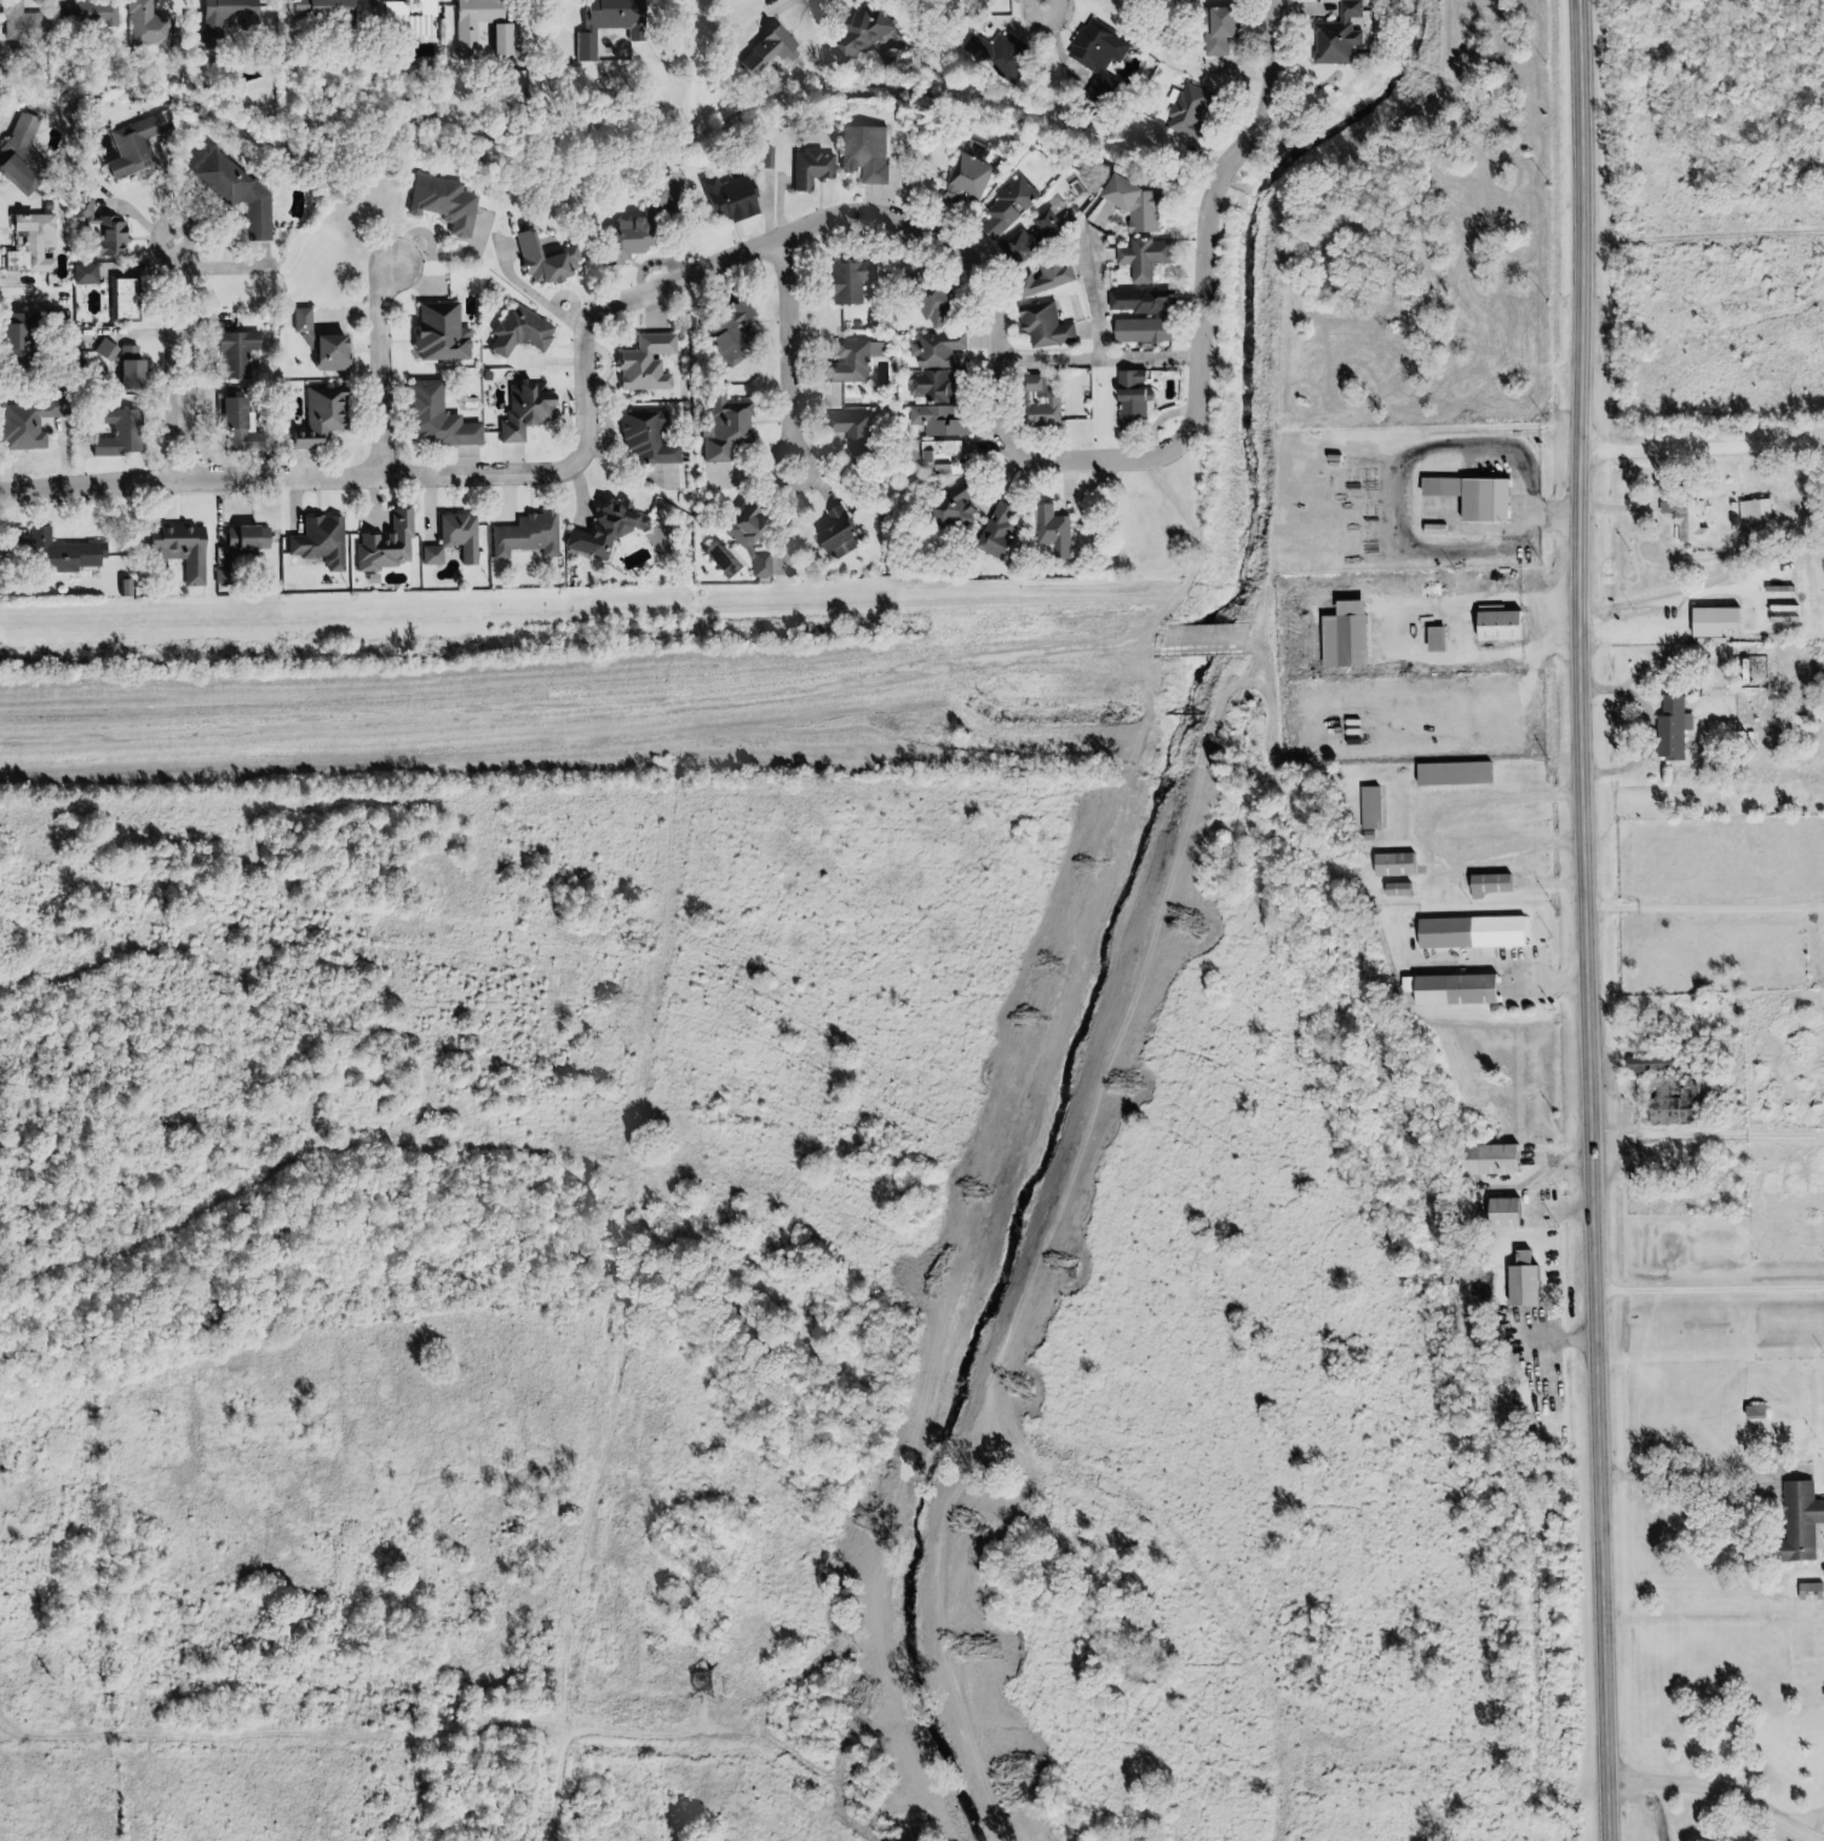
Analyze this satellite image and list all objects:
road: (1053, 2)
building: (323, 8)
building: (403, 8)
building: (91, 15)
building: (235, 15)
building: (605, 19)
building: (24, 24)
building: (151, 27)
building: (1218, 31)
building: (858, 33)
building: (1336, 36)
building: (465, 40)
building: (1091, 45)
building: (767, 52)
building: (995, 54)
building: (1191, 114)
building: (137, 145)
building: (864, 154)
building: (23, 162)
building: (811, 169)
building: (965, 182)
building: (727, 201)
building: (444, 205)
building: (1135, 207)
building: (1006, 211)
building: (258, 219)
building: (639, 230)
building: (108, 237)
building: (1031, 240)
building: (34, 244)
building: (1144, 254)
building: (540, 263)
building: (1042, 278)
building: (848, 283)
building: (127, 300)
building: (1138, 303)
building: (938, 306)
building: (1045, 328)
building: (1140, 332)
building: (438, 334)
building: (518, 334)
building: (730, 334)
building: (25, 343)
building: (322, 344)
building: (242, 353)
road: (800, 353)
road: (184, 358)
building: (851, 361)
building: (644, 364)
road: (385, 366)
building: (934, 367)
building: (138, 375)
road: (1011, 375)
building: (1129, 402)
building: (1042, 403)
building: (524, 410)
building: (322, 416)
building: (436, 420)
building: (34, 421)
building: (241, 421)
building: (939, 421)
building: (724, 427)
building: (852, 433)
building: (126, 437)
building: (646, 439)
road: (1701, 445)
building: (939, 460)
road: (276, 477)
building: (1471, 496)
building: (954, 511)
building: (1749, 511)
building: (1679, 520)
building: (997, 533)
building: (605, 534)
building: (1052, 534)
building: (525, 537)
building: (747, 537)
building: (836, 537)
building: (451, 541)
building: (321, 543)
building: (246, 546)
building: (0, 547)
building: (385, 547)
building: (188, 552)
building: (67, 553)
building: (148, 580)
building: (1701, 621)
building: (1496, 627)
building: (1342, 637)
building: (1434, 640)
building: (1191, 643)
road: (675, 701)
building: (1664, 726)
road: (1641, 729)
building: (1797, 729)
building: (1451, 776)
building: (1369, 809)
building: (1392, 865)
building: (1488, 886)
building: (1396, 891)
road: (1582, 920)
building: (1468, 934)
building: (1451, 991)
building: (1650, 1065)
road: (1705, 1137)
building: (1484, 1161)
building: (1501, 1214)
building: (1520, 1283)
road: (1710, 1289)
building: (1754, 1414)
road: (593, 1437)
road: (1698, 1474)
building: (1795, 1518)
building: (1805, 1590)
road: (284, 1728)
road: (1716, 1795)
road: (1801, 1818)

